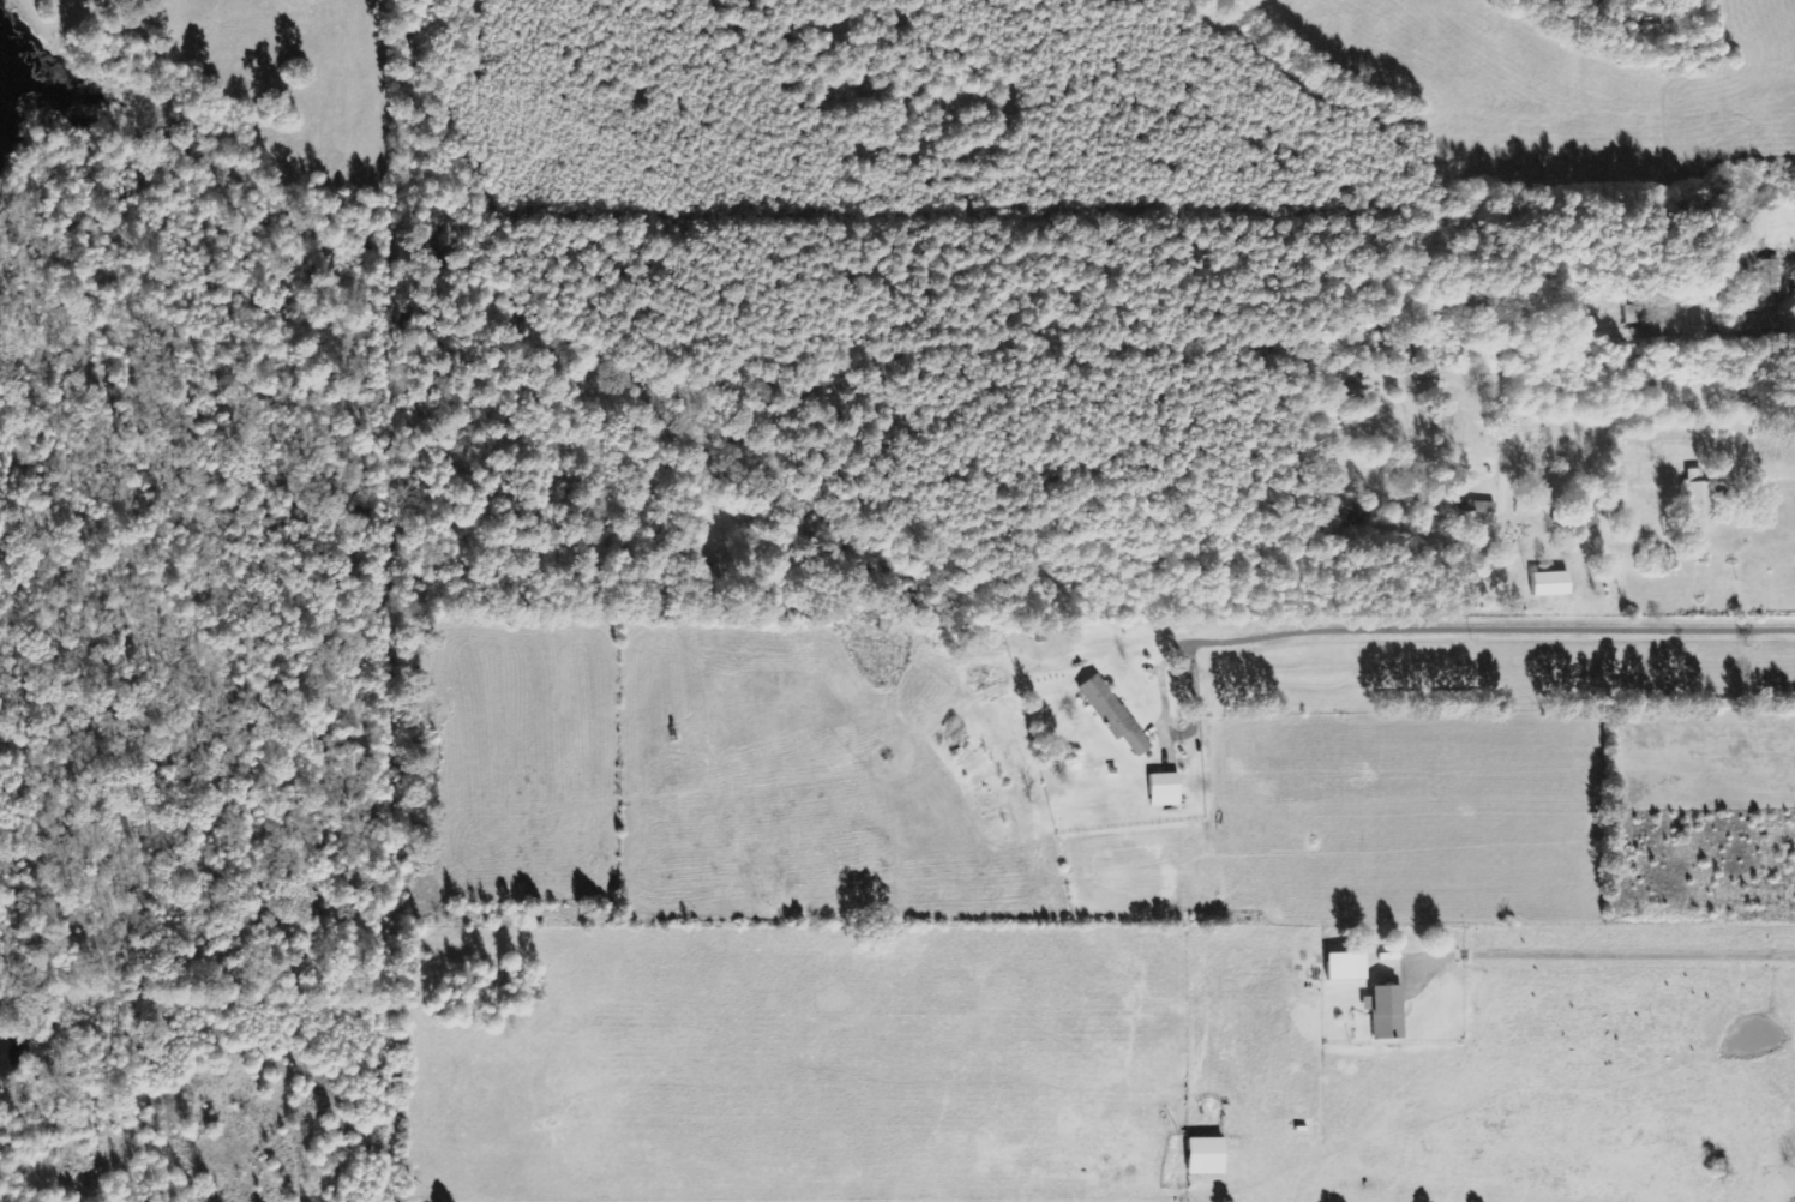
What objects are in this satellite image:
building: (1767, 274)
building: (1629, 314)
building: (1697, 500)
building: (1473, 507)
building: (1586, 518)
building: (1547, 584)
building: (1111, 714)
building: (1161, 789)
building: (1343, 967)
building: (1383, 1012)
building: (1201, 1156)

